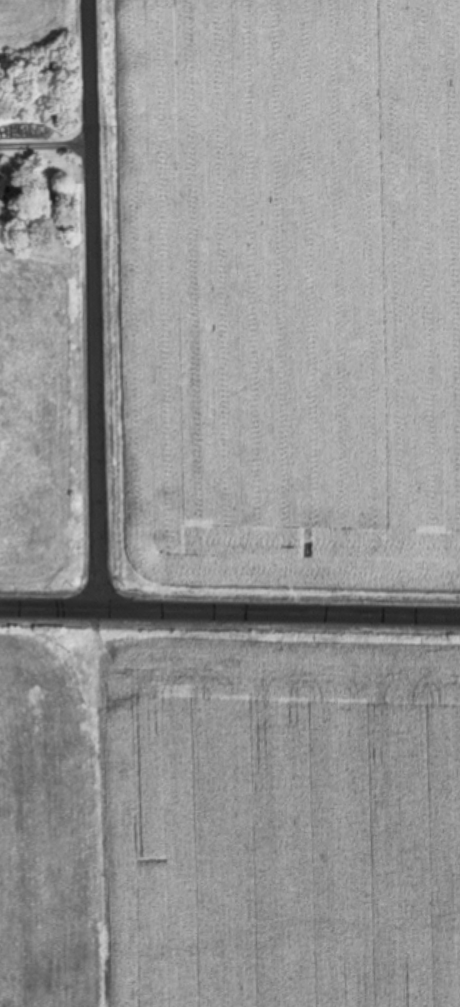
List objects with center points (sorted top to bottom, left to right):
building: (6, 186)
road: (93, 303)
road: (230, 609)

